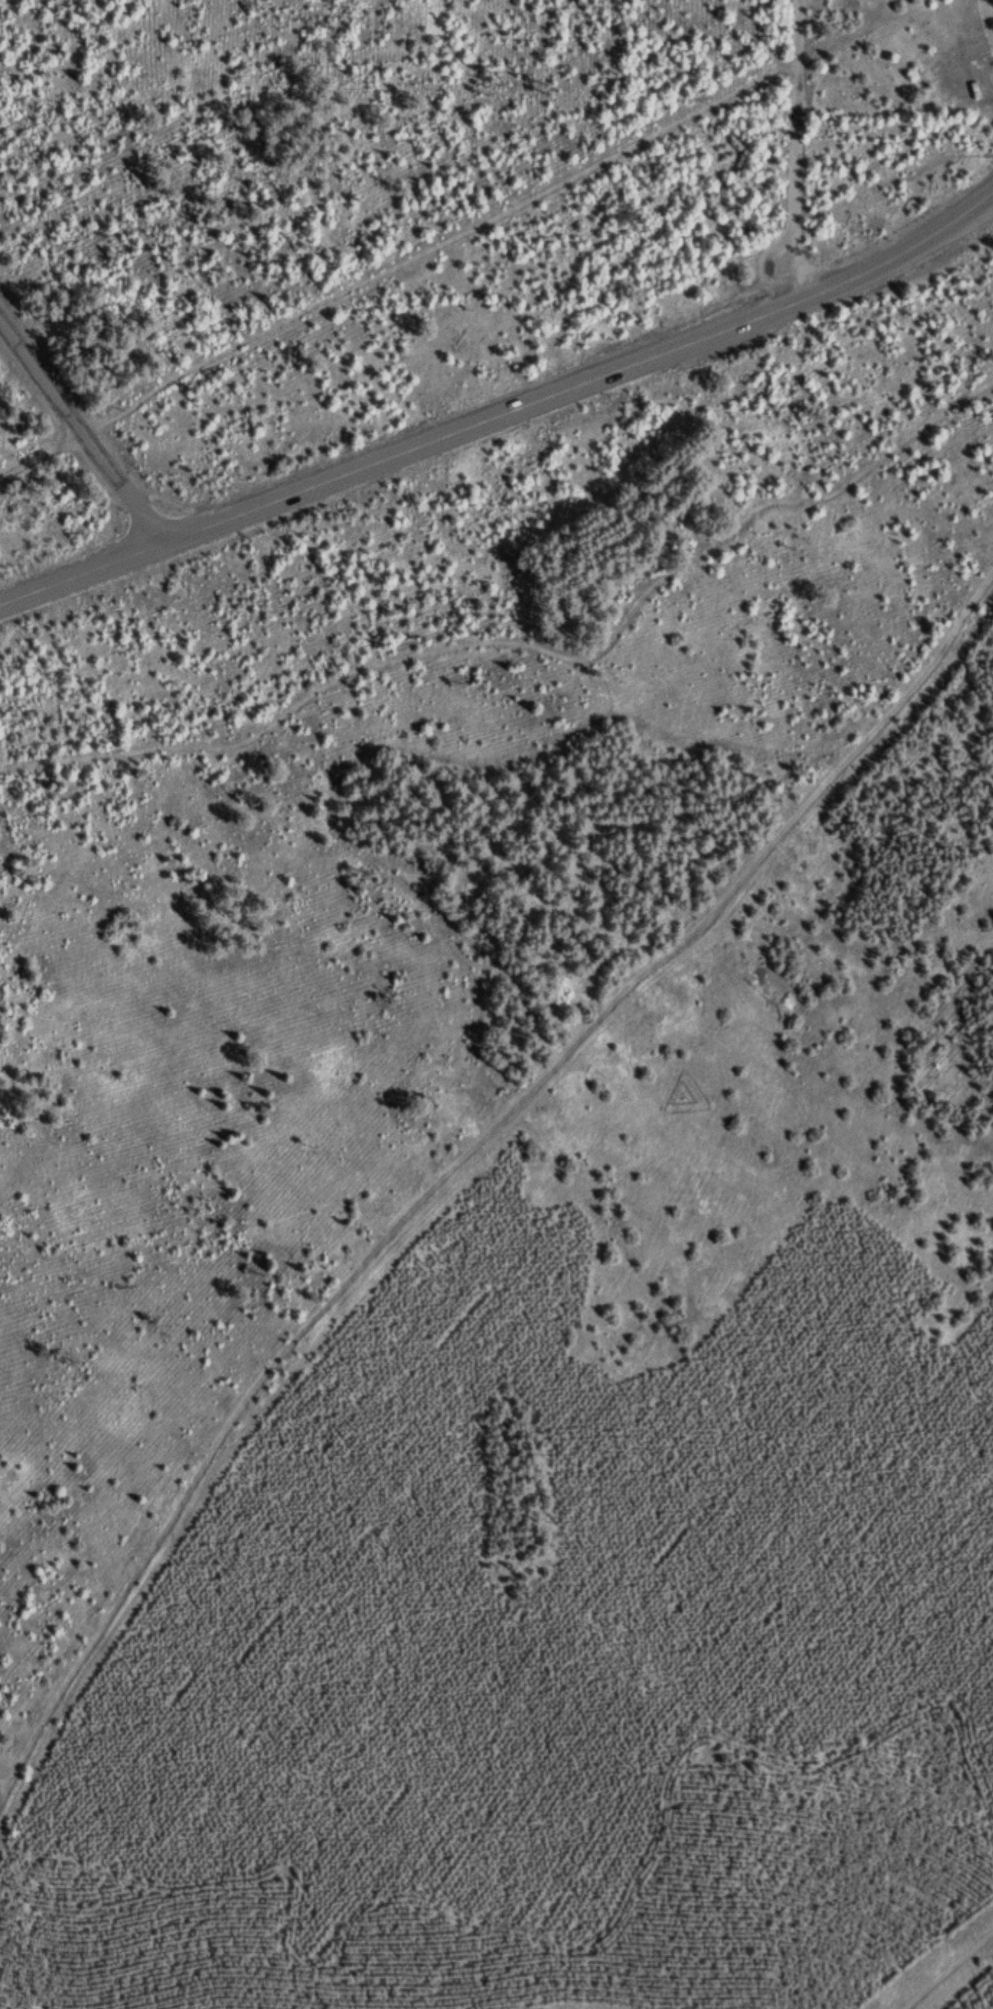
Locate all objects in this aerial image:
road: (798, 152)
road: (503, 413)
road: (83, 433)
road: (459, 1160)
road: (949, 1972)

